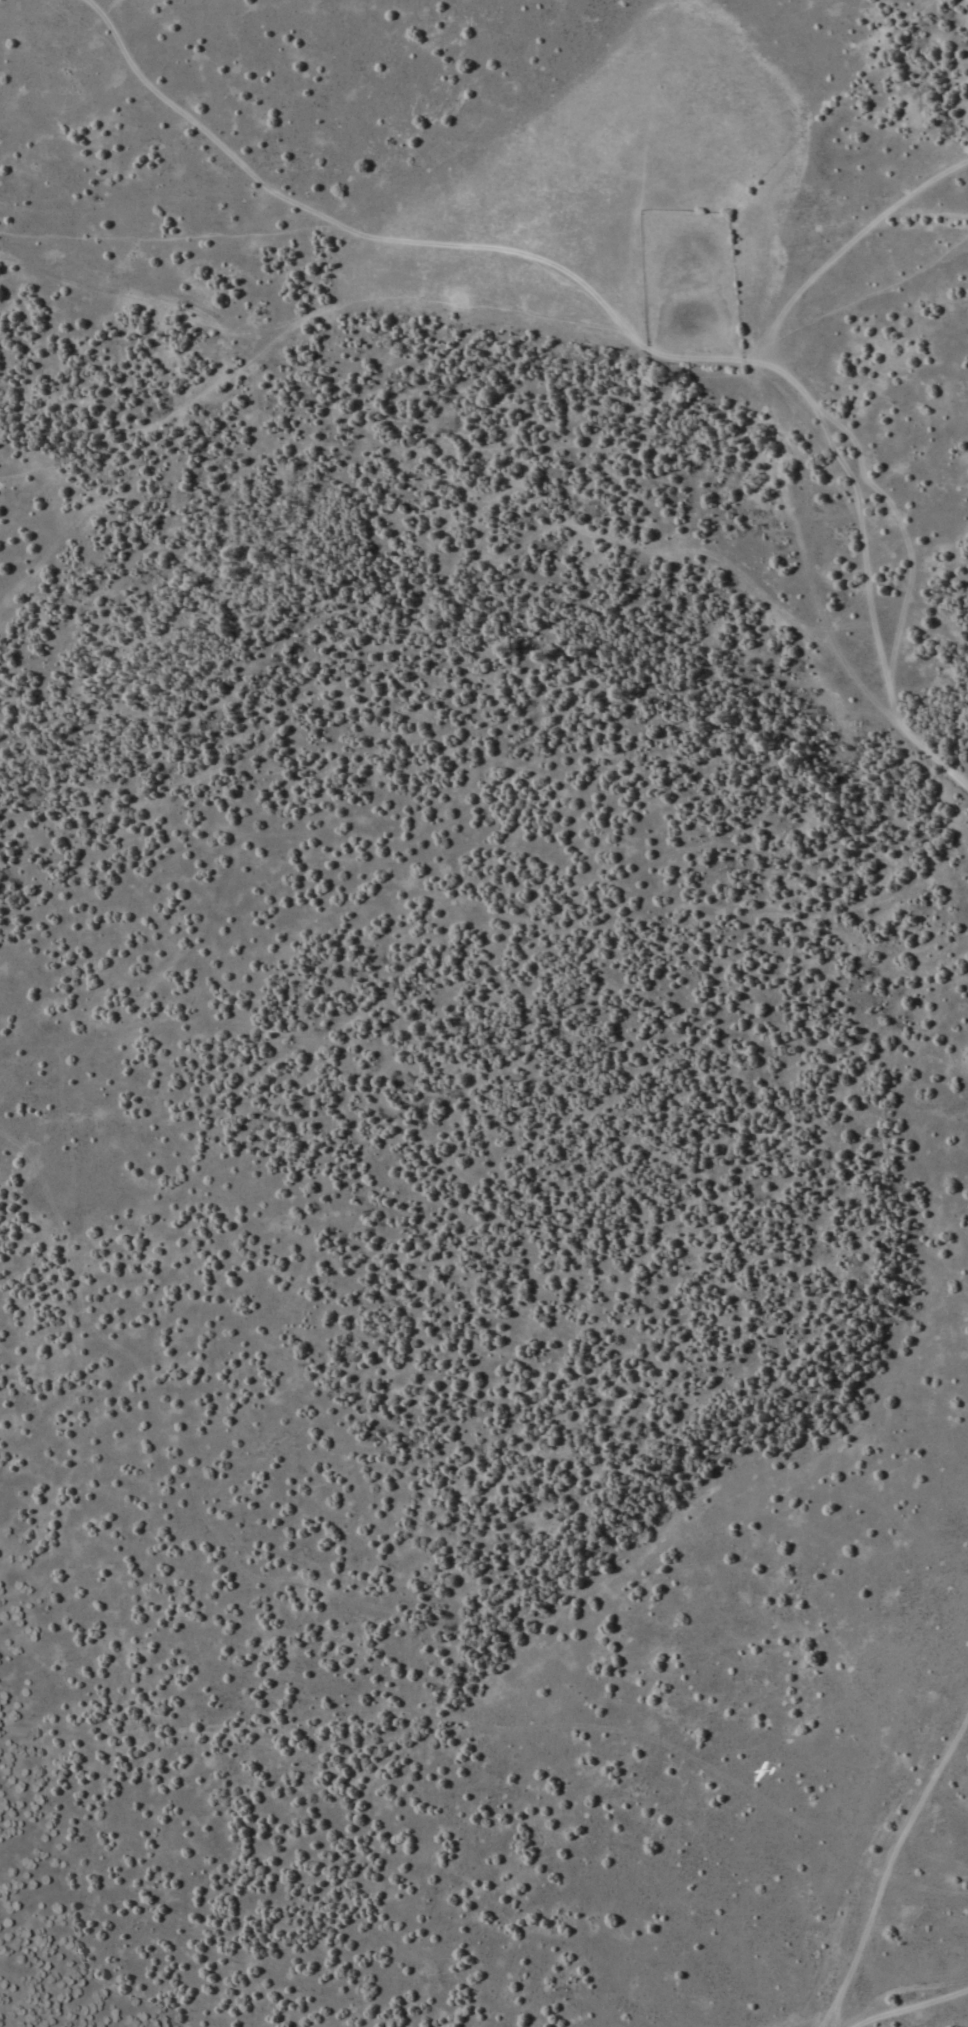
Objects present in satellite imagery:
road: (847, 248)
road: (619, 327)
road: (672, 1746)
road: (876, 1848)
road: (891, 2009)

